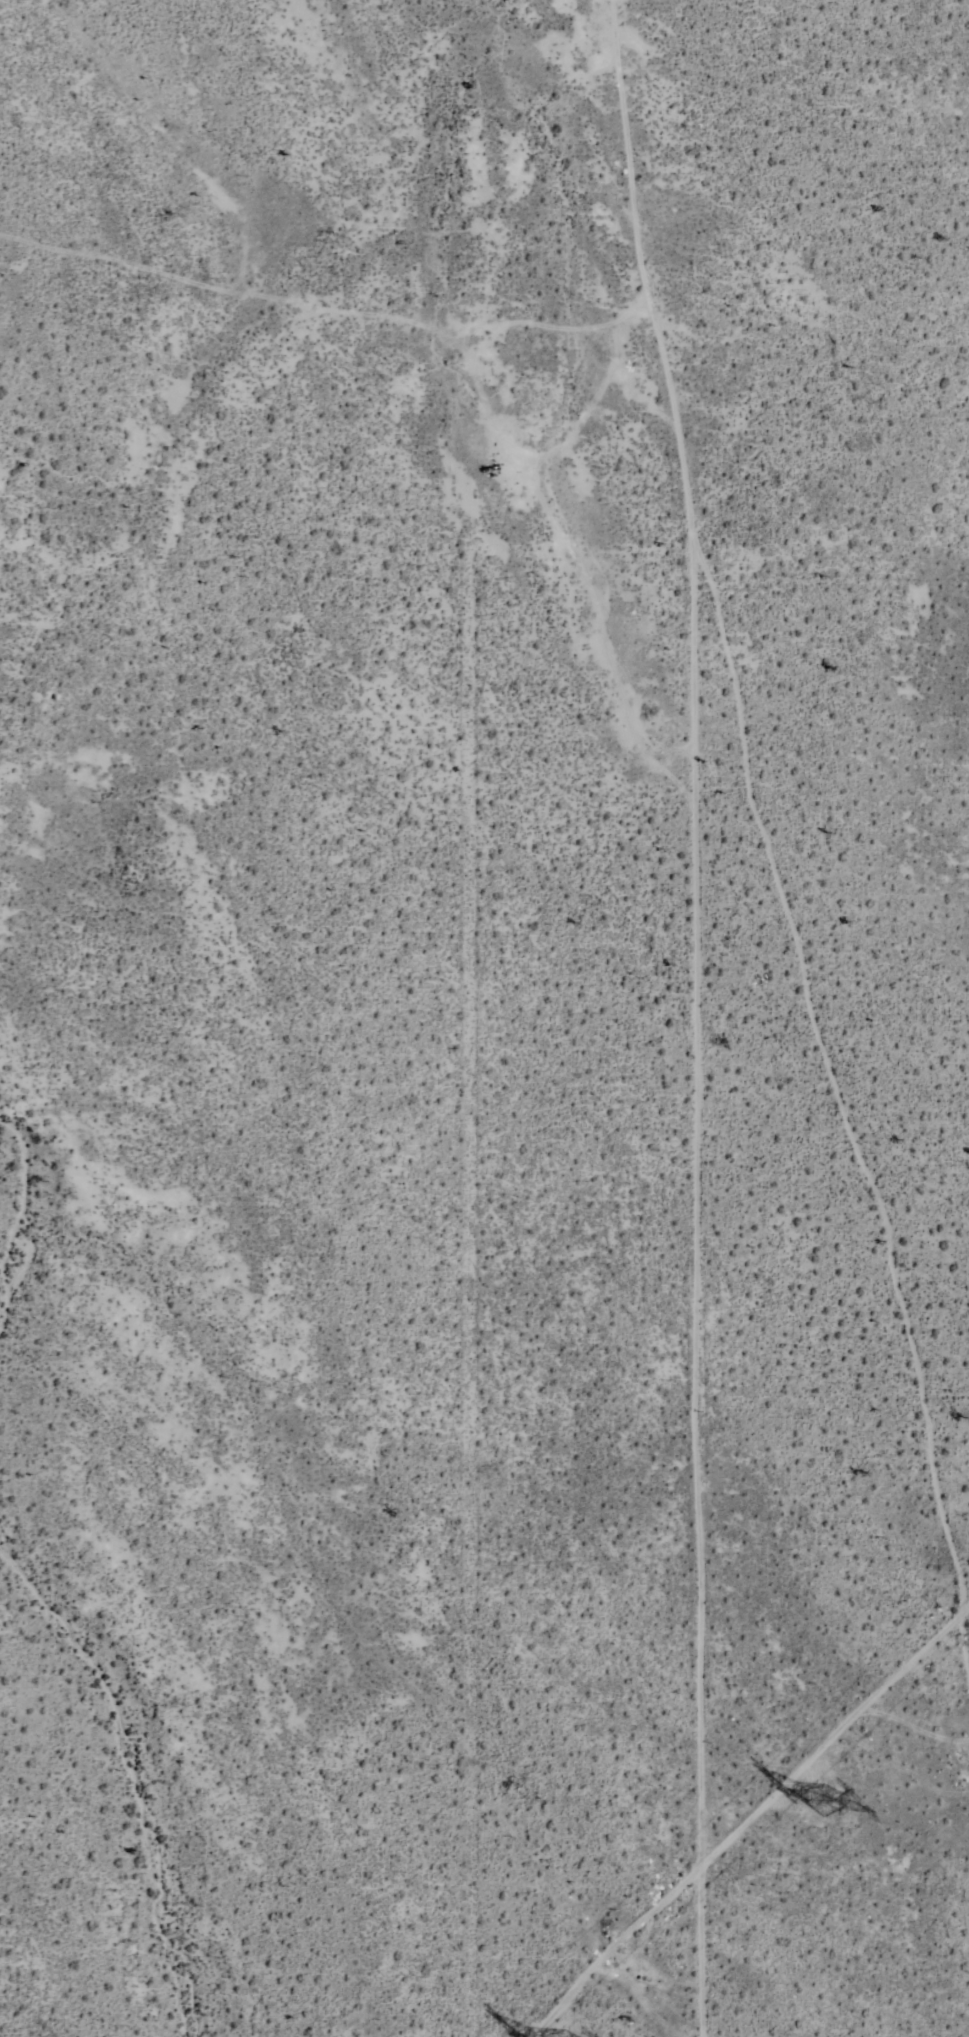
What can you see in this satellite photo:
road: (691, 1016)
power tower: (817, 1796)

